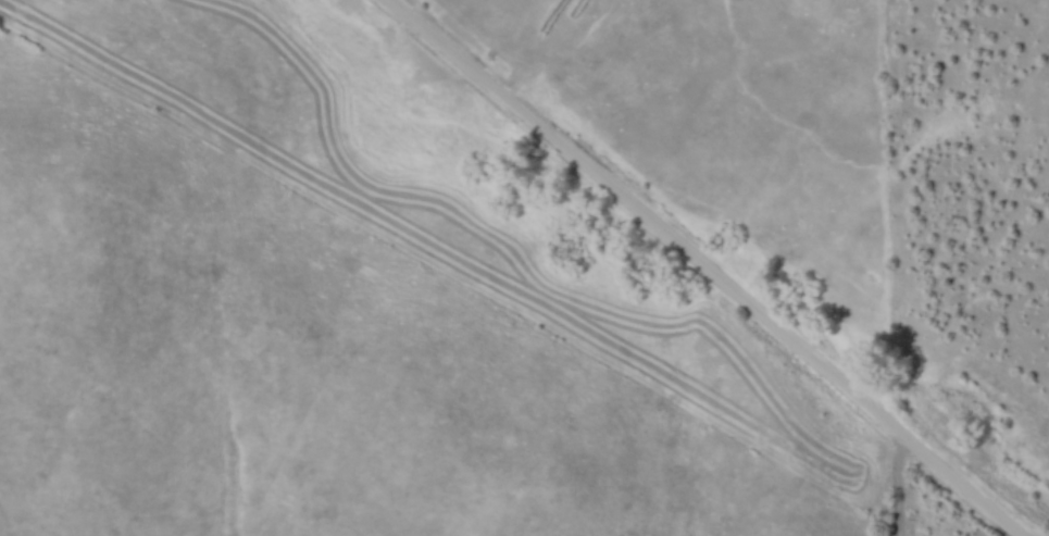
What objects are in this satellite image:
road: (701, 266)
road: (902, 489)

